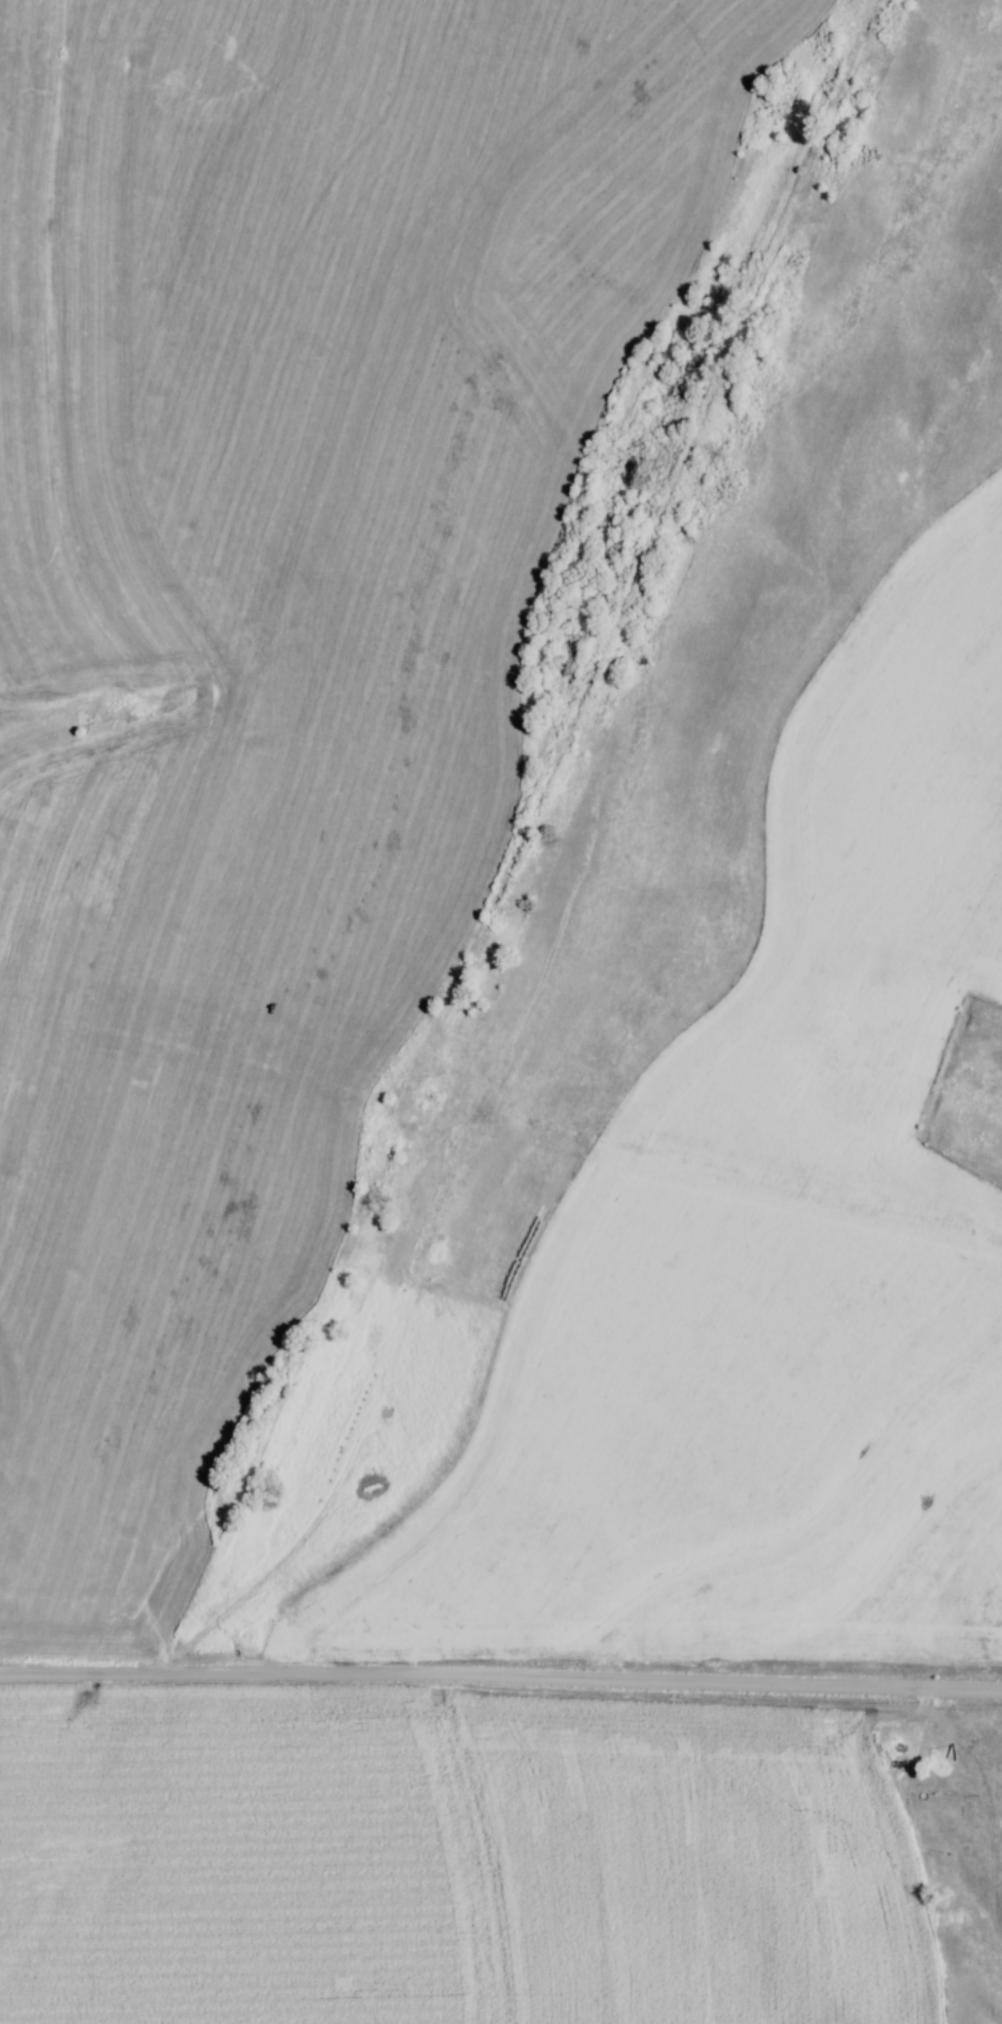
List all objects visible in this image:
road: (501, 1678)

